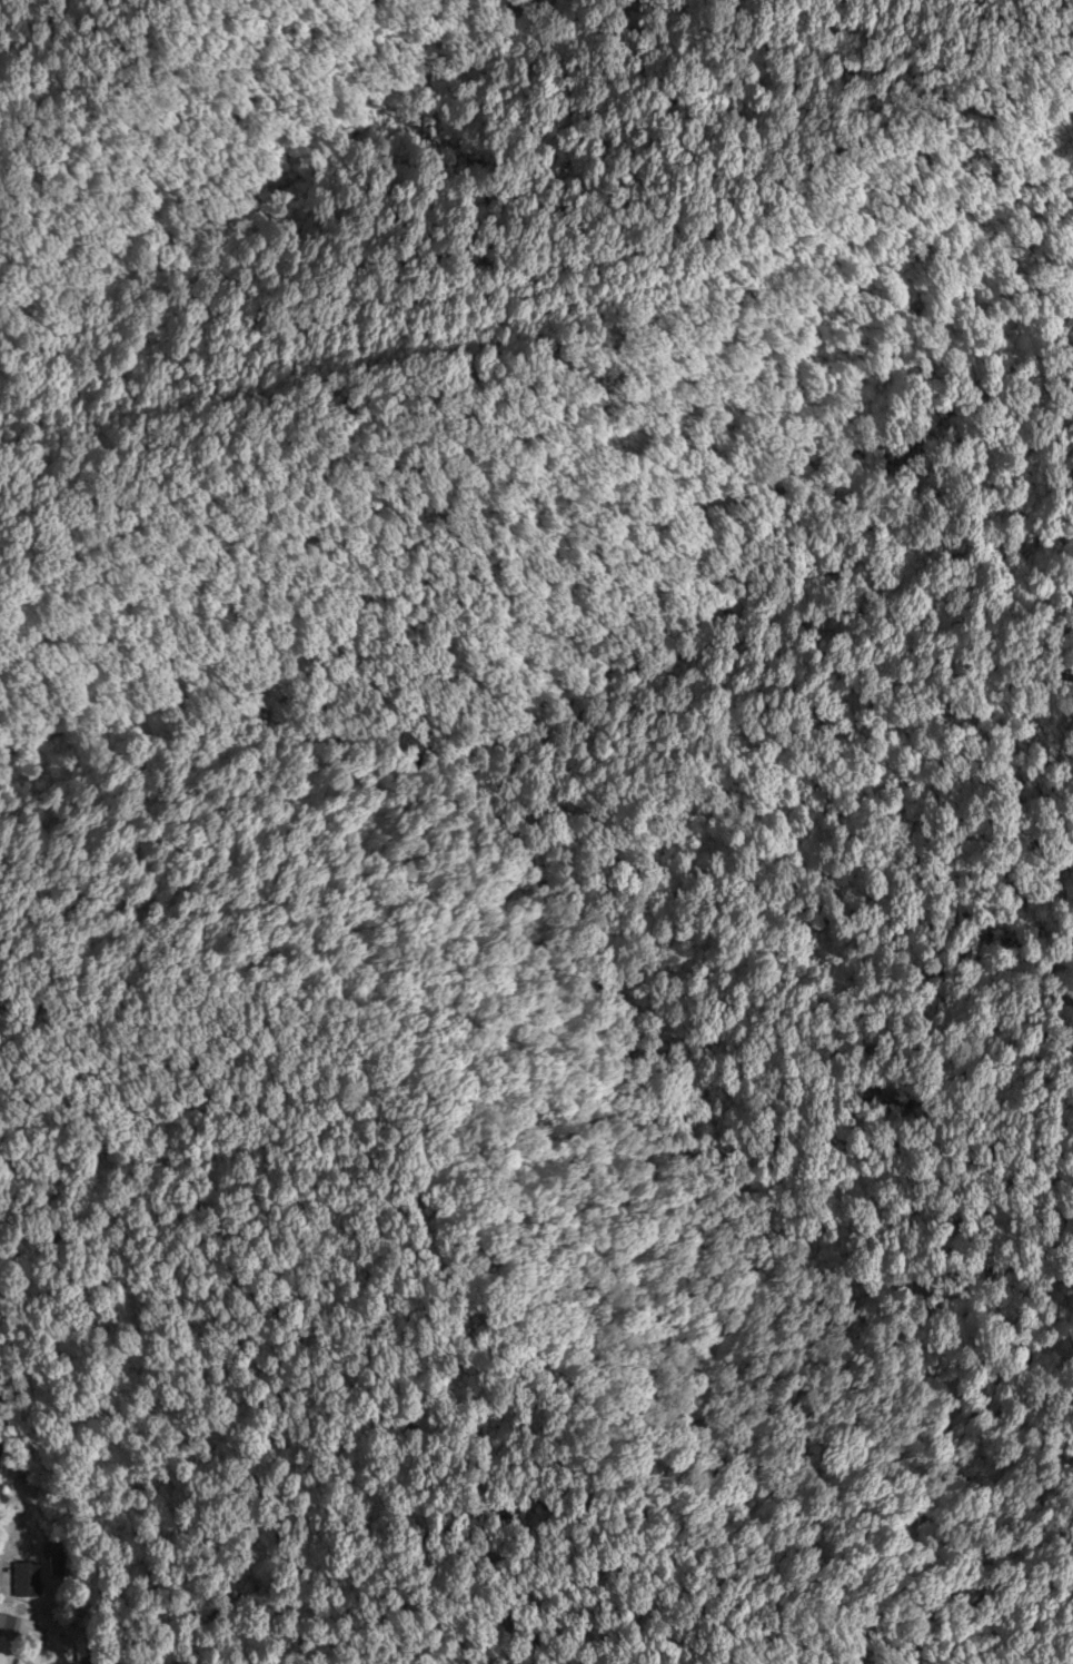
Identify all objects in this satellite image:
building: (22, 1579)

